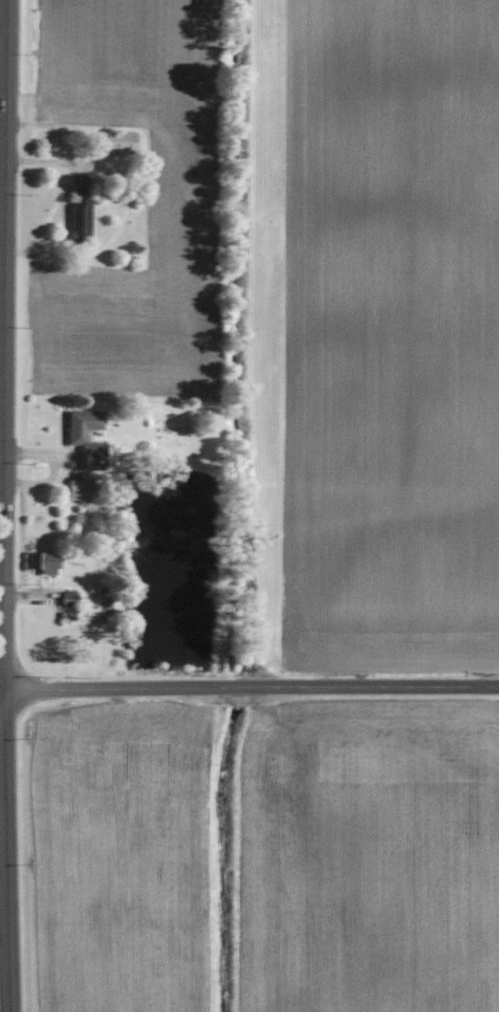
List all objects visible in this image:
building: (120, 141)
building: (82, 211)
building: (78, 435)
building: (73, 490)
road: (4, 506)
building: (48, 564)
building: (71, 598)
road: (249, 687)

